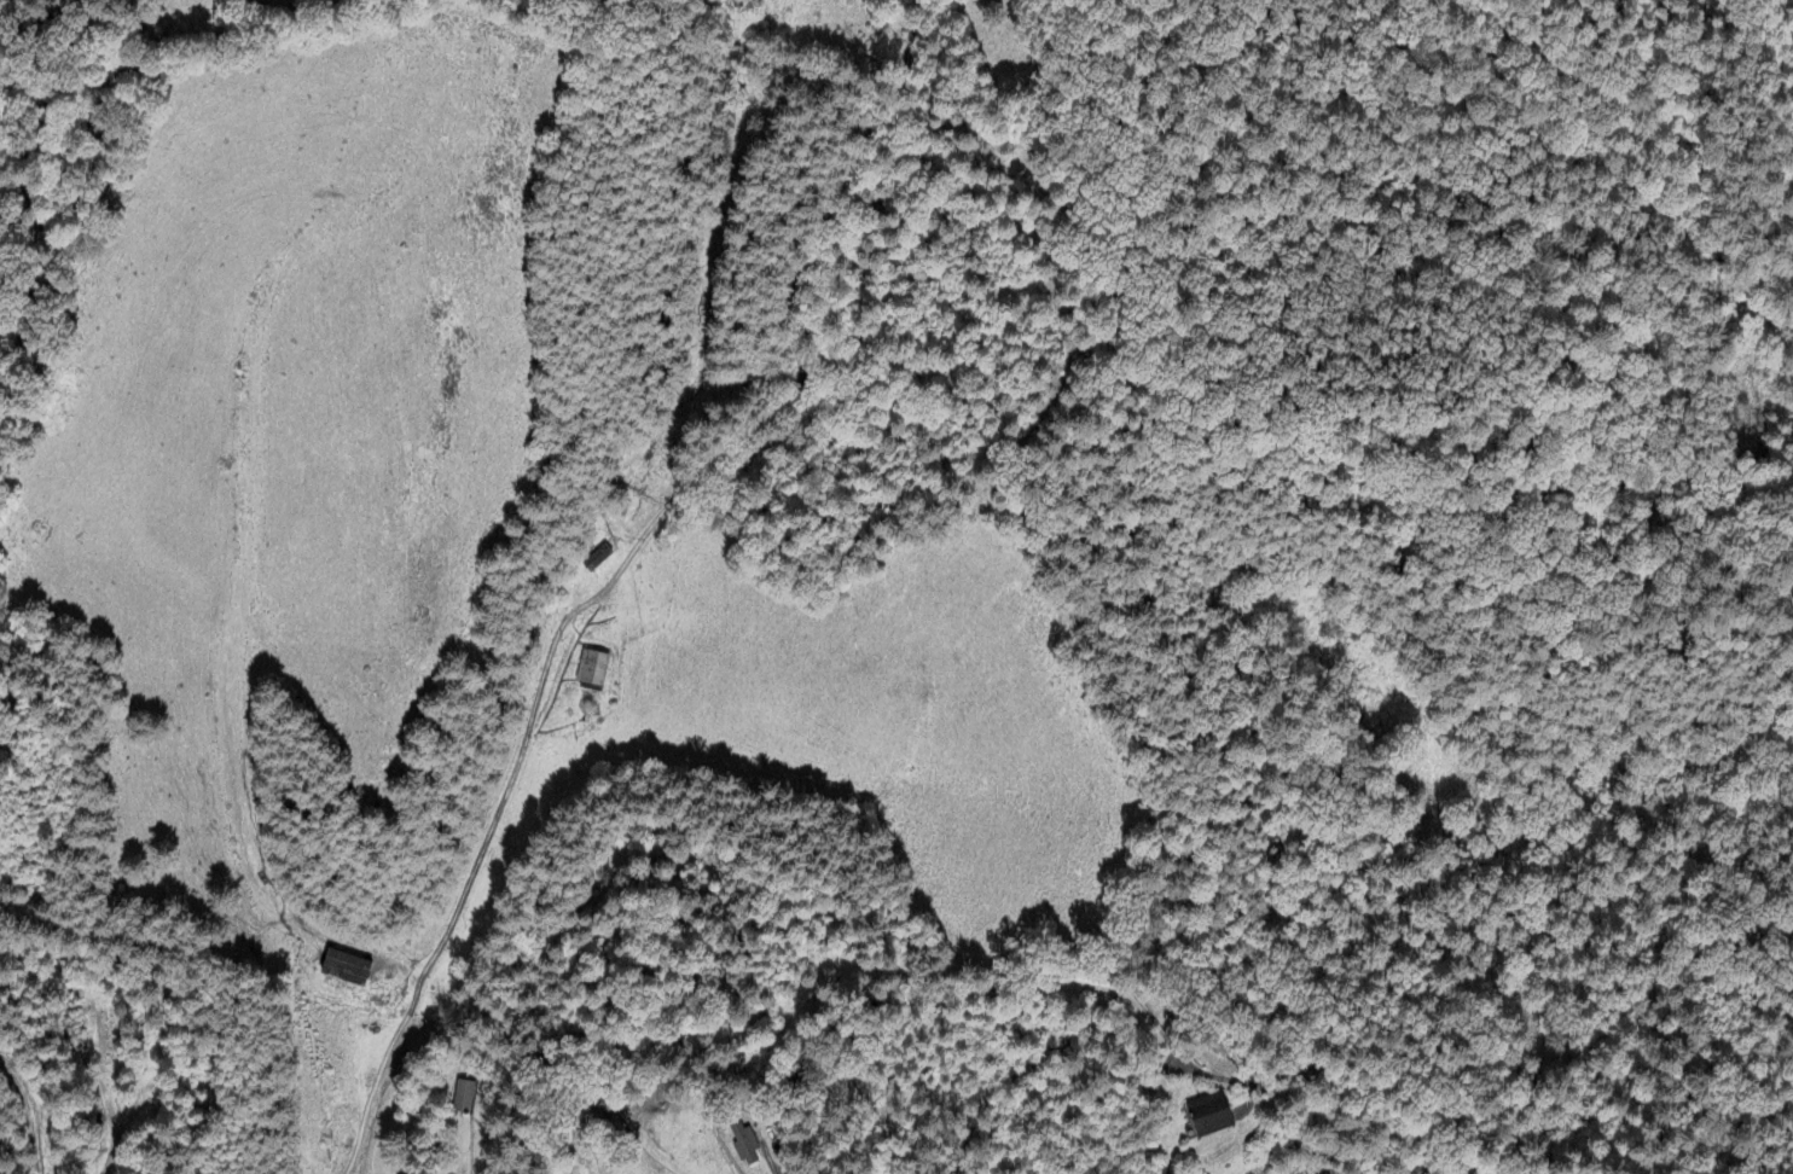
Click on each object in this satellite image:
building: (593, 668)
road: (520, 761)
building: (347, 969)
building: (464, 1097)
building: (1211, 1115)
road: (31, 1131)
building: (748, 1144)
road: (776, 1172)

